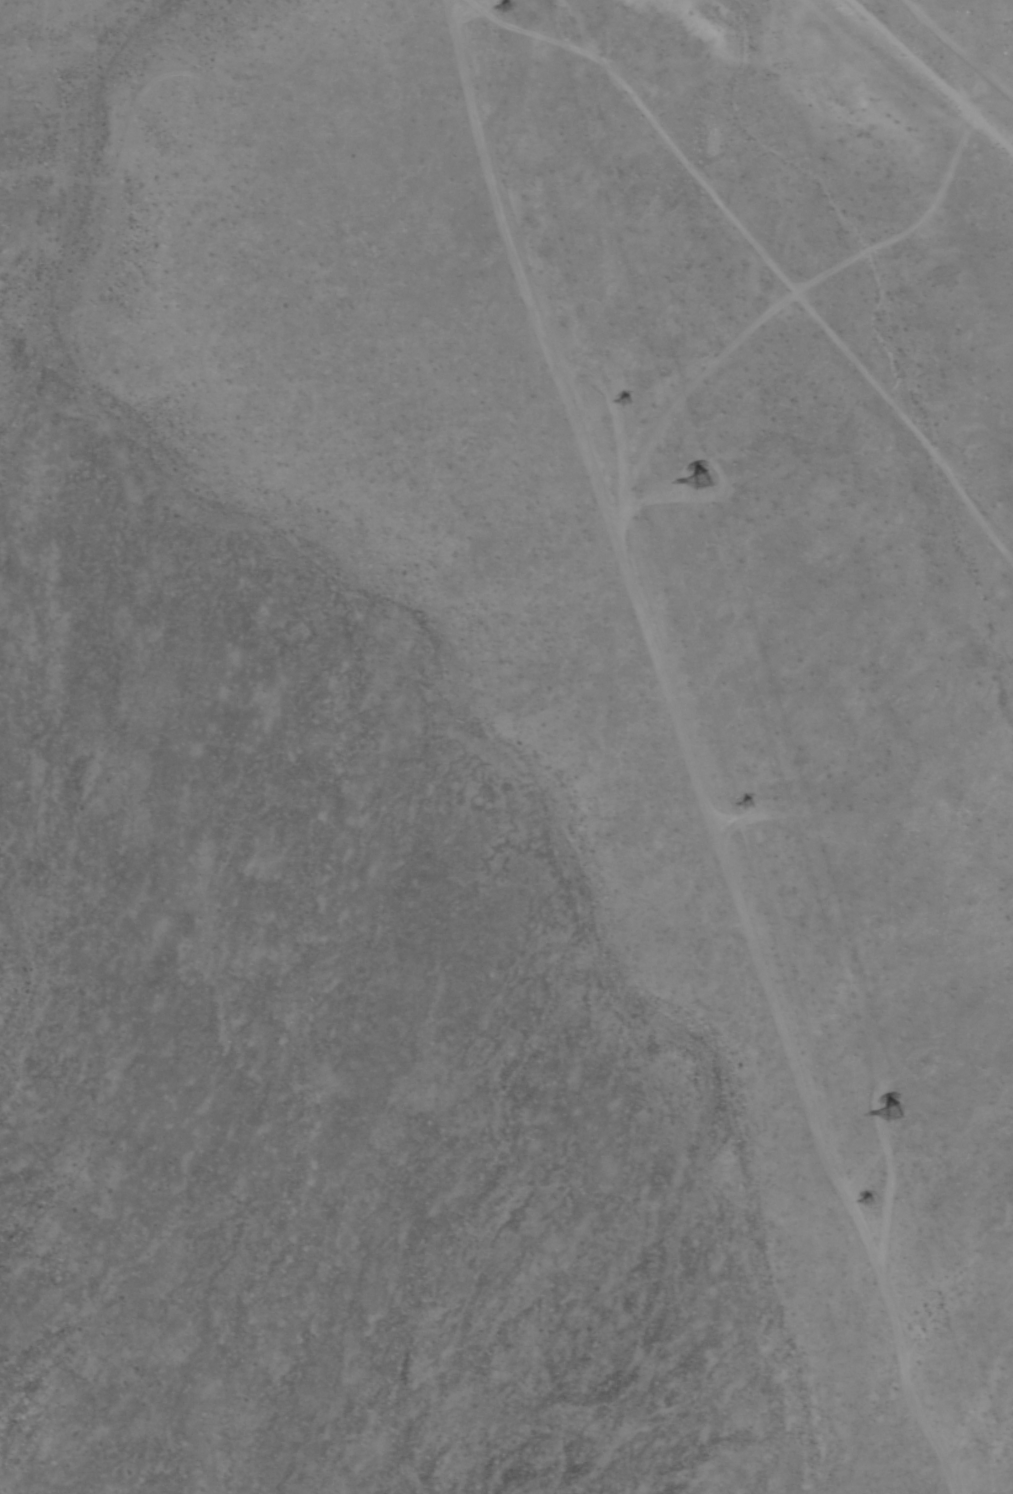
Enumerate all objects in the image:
power tower: (497, 12)
power tower: (628, 407)
power tower: (701, 483)
power tower: (741, 804)
power tower: (890, 1117)
power tower: (866, 1202)

